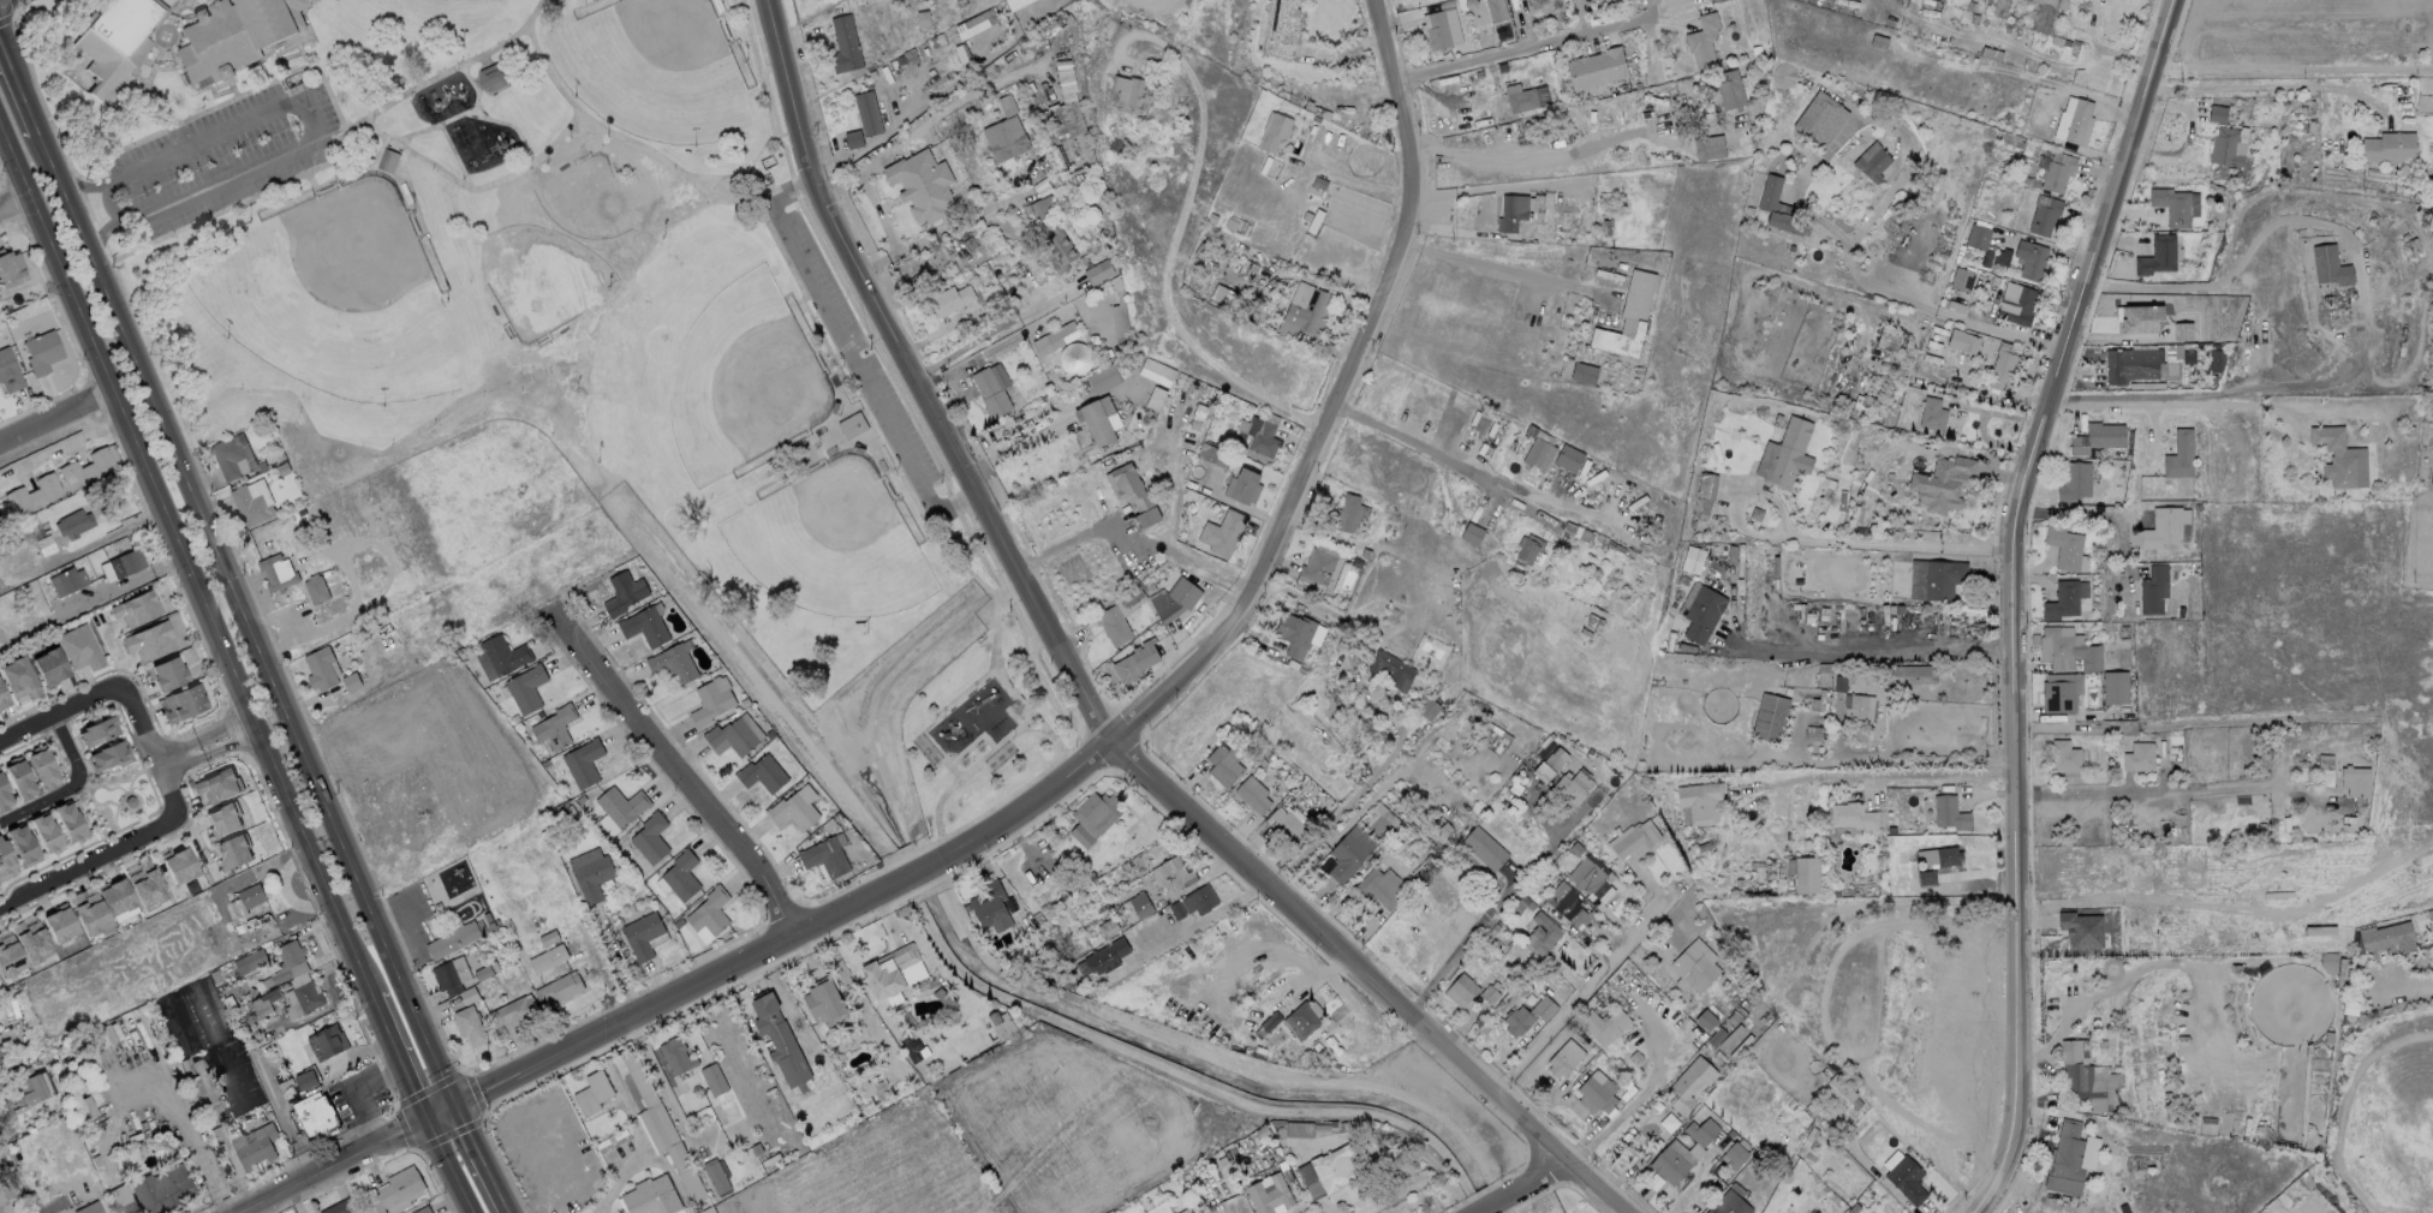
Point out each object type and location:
road: (1156, 0)
building: (1594, 0)
building: (1603, 0)
park: (452, 1)
building: (917, 8)
building: (1496, 10)
building: (2047, 17)
building: (1280, 28)
building: (1437, 30)
building: (234, 36)
building: (1702, 38)
building: (845, 43)
building: (115, 46)
road: (1527, 46)
building: (895, 50)
building: (1596, 67)
building: (1060, 71)
park: (655, 72)
building: (1783, 74)
building: (496, 78)
road: (20, 79)
road: (2262, 86)
building: (1729, 88)
building: (1128, 92)
building: (1525, 96)
road: (221, 106)
building: (866, 112)
building: (2217, 113)
building: (1815, 115)
road: (459, 116)
building: (1600, 118)
building: (2079, 121)
road: (312, 125)
road: (508, 127)
building: (1275, 130)
building: (1004, 138)
building: (853, 139)
road: (330, 141)
building: (1709, 147)
building: (2226, 147)
building: (2389, 147)
road: (644, 148)
road: (1913, 154)
parking lot: (226, 155)
road: (454, 156)
road: (342, 159)
road: (1511, 160)
building: (389, 161)
building: (1871, 161)
building: (2055, 169)
building: (920, 184)
road: (473, 187)
road: (14, 204)
park: (584, 204)
road: (107, 205)
building: (2171, 205)
building: (1779, 208)
building: (1304, 210)
building: (1511, 211)
building: (2044, 216)
building: (1978, 237)
building: (1057, 250)
building: (1079, 250)
building: (2157, 255)
building: (2000, 256)
building: (2029, 258)
building: (2330, 263)
road: (1485, 264)
road: (2236, 267)
building: (1247, 268)
building: (11, 269)
building: (1098, 271)
park: (541, 275)
building: (1962, 279)
road: (1161, 293)
park: (326, 299)
building: (949, 299)
building: (2015, 303)
building: (2135, 306)
building: (1305, 310)
building: (1628, 316)
building: (2173, 322)
road: (995, 329)
park: (565, 330)
building: (2183, 330)
road: (2009, 333)
building: (1055, 337)
building: (1889, 339)
building: (1962, 341)
building: (41, 352)
parking lot: (859, 352)
road: (852, 357)
building: (1075, 359)
building: (2216, 360)
building: (2002, 364)
building: (2130, 364)
building: (10, 372)
building: (1584, 372)
building: (1103, 378)
park: (745, 382)
road: (916, 383)
building: (992, 388)
road: (1998, 396)
road: (2154, 400)
building: (1932, 413)
road: (56, 419)
building: (1098, 419)
building: (2097, 436)
building: (1258, 438)
road: (60, 444)
building: (1539, 453)
building: (1789, 454)
building: (2179, 455)
building: (233, 456)
road: (1433, 456)
building: (1568, 456)
building: (2338, 456)
building: (85, 468)
road: (900, 473)
building: (2432, 477)
building: (2073, 480)
building: (1942, 483)
building: (1242, 485)
building: (1706, 485)
building: (1134, 492)
building: (31, 494)
building: (250, 506)
building: (1349, 513)
road: (2095, 514)
building: (72, 524)
building: (2164, 526)
building: (1221, 532)
building: (1472, 533)
road: (1131, 534)
road: (1823, 538)
building: (2063, 545)
building: (1529, 548)
park: (831, 549)
building: (1693, 560)
building: (124, 562)
road: (183, 562)
building: (1317, 566)
building: (276, 572)
building: (1940, 578)
building: (65, 580)
building: (315, 587)
building: (2152, 588)
building: (622, 592)
road: (1012, 594)
building: (1174, 598)
building: (2061, 599)
road: (2009, 602)
building: (135, 608)
building: (1702, 613)
building: (1120, 615)
road: (245, 617)
building: (644, 626)
building: (1293, 633)
building: (147, 641)
road: (1873, 644)
building: (78, 647)
building: (2067, 649)
building: (503, 655)
building: (1134, 662)
building: (673, 663)
building: (48, 665)
building: (320, 668)
building: (1391, 669)
building: (166, 674)
building: (1914, 674)
building: (18, 677)
building: (2115, 687)
building: (526, 688)
building: (2061, 692)
building: (2, 698)
building: (181, 703)
building: (710, 704)
building: (1857, 706)
building: (1429, 709)
road: (58, 710)
road: (1141, 717)
building: (1770, 717)
building: (555, 727)
building: (96, 730)
building: (735, 735)
road: (201, 743)
road: (145, 749)
building: (108, 755)
building: (2064, 757)
building: (2139, 757)
building: (1556, 758)
building: (583, 763)
building: (1223, 765)
building: (42, 766)
building: (763, 773)
road: (1919, 773)
road: (966, 775)
building: (18, 778)
road: (72, 781)
road: (684, 782)
building: (2355, 782)
building: (1570, 785)
building: (216, 787)
road: (2159, 790)
building: (1252, 794)
building: (4, 796)
building: (1699, 801)
building: (621, 806)
building: (1944, 809)
building: (793, 811)
building: (1851, 815)
building: (1092, 817)
building: (221, 820)
building: (67, 821)
road: (1332, 823)
building: (1284, 824)
building: (44, 833)
building: (1633, 837)
building: (650, 838)
building: (22, 845)
building: (1483, 848)
building: (232, 852)
building: (1349, 852)
building: (827, 855)
building: (1943, 856)
road: (88, 861)
building: (5, 862)
building: (178, 866)
building: (590, 873)
building: (1171, 874)
building: (1805, 874)
building: (681, 876)
building: (1926, 876)
building: (1591, 877)
building: (143, 884)
building: (1379, 888)
building: (251, 894)
building: (114, 896)
building: (1198, 900)
building: (1140, 904)
building: (1568, 904)
building: (990, 908)
building: (88, 912)
building: (709, 912)
building: (58, 925)
building: (2077, 928)
road: (1195, 931)
building: (1542, 933)
building: (642, 934)
building: (2389, 938)
building: (30, 939)
building: (452, 939)
road: (1456, 949)
building: (8, 954)
building: (1105, 956)
building: (548, 957)
building: (251, 960)
building: (287, 960)
road: (596, 961)
road: (618, 961)
building: (1694, 964)
building: (893, 972)
building: (451, 974)
road: (1361, 982)
building: (559, 987)
building: (1463, 987)
road: (2408, 988)
building: (204, 991)
road: (1580, 992)
building: (467, 993)
building: (306, 996)
building: (1489, 996)
building: (823, 998)
building: (512, 1010)
building: (1527, 1015)
building: (1304, 1017)
building: (469, 1024)
building: (1598, 1027)
building: (780, 1041)
building: (326, 1042)
building: (675, 1056)
road: (398, 1058)
building: (1562, 1062)
building: (234, 1075)
building: (2087, 1077)
building: (305, 1080)
road: (658, 1084)
building: (1689, 1084)
building: (26, 1086)
building: (592, 1093)
building: (717, 1094)
building: (1596, 1094)
road: (440, 1112)
building: (315, 1117)
road: (184, 1141)
road: (640, 1143)
building: (254, 1146)
building: (670, 1147)
building: (1735, 1155)
road: (482, 1159)
building: (1891, 1160)
building: (2065, 1160)
building: (1668, 1165)
road: (334, 1166)
road: (448, 1166)
building: (1335, 1169)
road: (669, 1172)
building: (1906, 1179)
building: (161, 1189)
building: (393, 1189)
building: (5, 1191)
road: (1523, 1191)
building: (1269, 1194)
building: (651, 1197)
building: (121, 1200)
building: (1729, 1203)
building: (340, 1207)
building: (88, 1208)
building: (422, 1209)
building: (1078, 1212)
building: (1189, 1212)
building: (1193, 1212)

